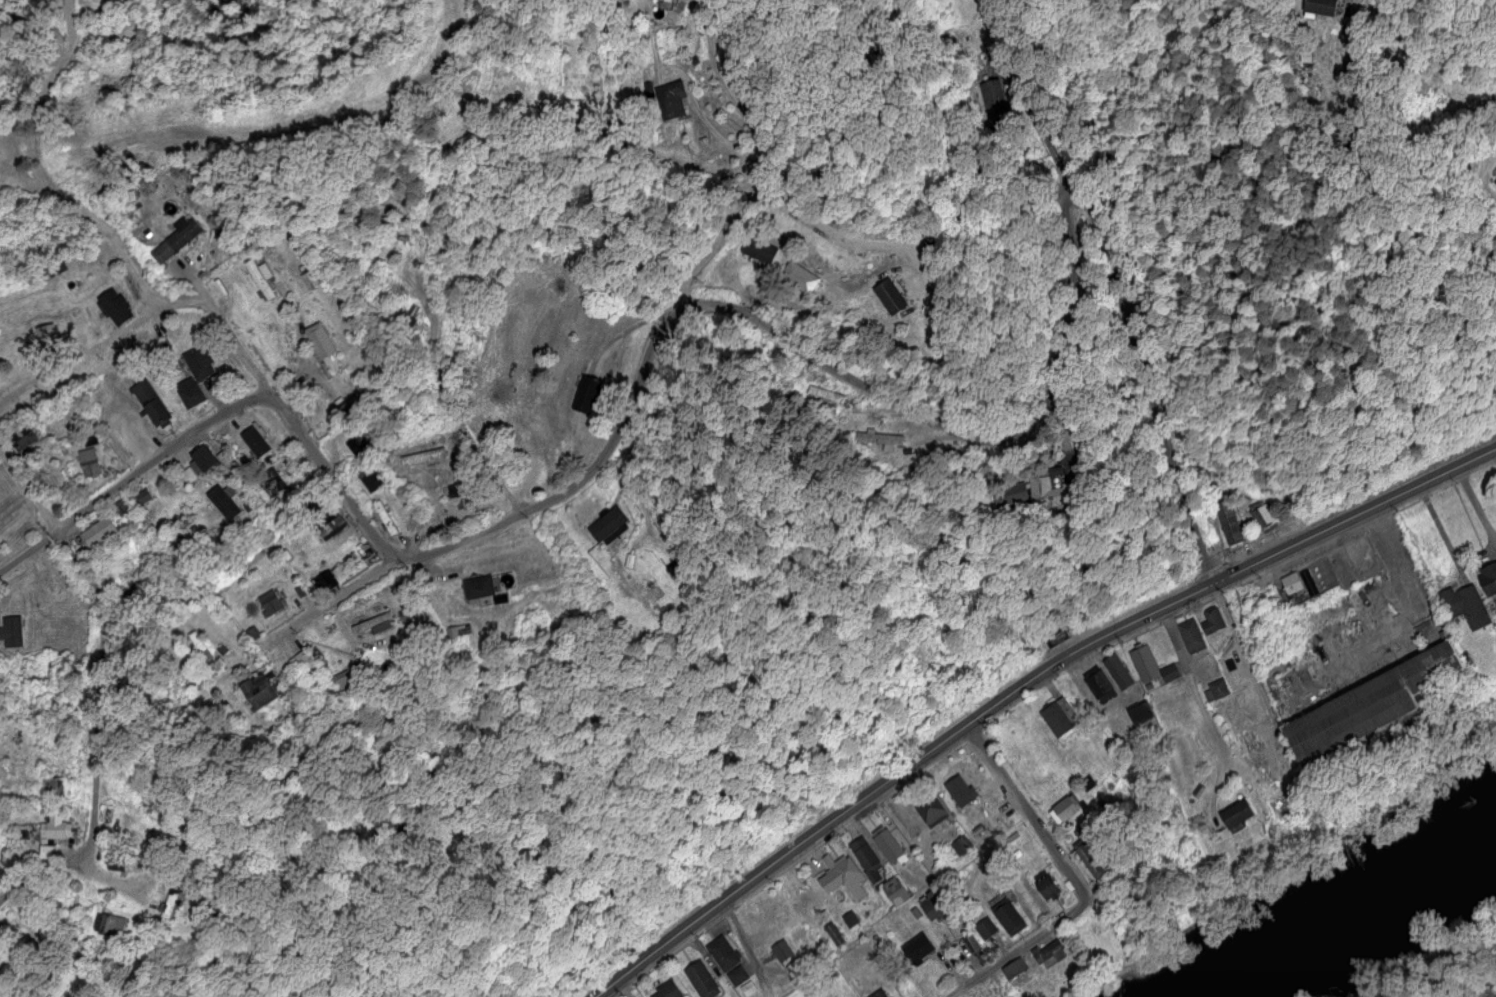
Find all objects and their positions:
building: (669, 0)
building: (1321, 6)
road: (25, 59)
building: (668, 97)
building: (994, 102)
road: (759, 156)
road: (37, 169)
building: (1494, 180)
road: (806, 223)
building: (176, 238)
building: (759, 249)
building: (261, 276)
building: (799, 276)
building: (890, 295)
building: (115, 306)
road: (1061, 306)
building: (47, 336)
building: (319, 339)
road: (79, 358)
building: (199, 362)
building: (190, 391)
building: (586, 393)
building: (826, 393)
building: (151, 403)
road: (283, 413)
building: (20, 438)
building: (256, 439)
building: (881, 439)
building: (358, 445)
building: (202, 460)
building: (89, 461)
building: (368, 478)
road: (579, 479)
road: (132, 481)
building: (272, 482)
road: (29, 486)
building: (1033, 491)
building: (458, 494)
building: (142, 495)
building: (225, 500)
road: (1475, 507)
building: (385, 516)
building: (1262, 517)
building: (1229, 522)
building: (331, 524)
building: (608, 525)
building: (98, 531)
building: (325, 580)
building: (1488, 580)
building: (1290, 583)
building: (478, 586)
road: (337, 596)
building: (270, 601)
building: (1464, 606)
building: (1211, 622)
building: (374, 623)
building: (12, 630)
building: (458, 630)
building: (1060, 635)
building: (1190, 637)
road: (1246, 660)
building: (1144, 664)
building: (1117, 671)
building: (346, 678)
building: (1099, 683)
road: (1024, 687)
building: (262, 688)
building: (1218, 688)
building: (1377, 709)
road: (1203, 710)
building: (1141, 712)
building: (1060, 716)
road: (96, 733)
building: (1269, 758)
building: (53, 786)
building: (960, 790)
building: (1197, 791)
building: (1276, 803)
building: (931, 809)
building: (1063, 809)
road: (1028, 812)
building: (1235, 813)
building: (54, 826)
building: (886, 842)
building: (961, 844)
building: (46, 850)
building: (866, 857)
building: (1092, 859)
building: (842, 875)
building: (1046, 884)
building: (895, 890)
building: (933, 903)
river: (1353, 903)
building: (174, 904)
building: (1008, 916)
building: (850, 918)
building: (110, 923)
building: (985, 927)
building: (971, 941)
building: (918, 948)
road: (1019, 948)
road: (745, 949)
building: (782, 949)
building: (723, 952)
building: (1050, 952)
building: (1014, 967)
building: (737, 975)
building: (702, 979)
building: (748, 987)
road: (622, 988)
building: (667, 990)
building: (878, 993)

